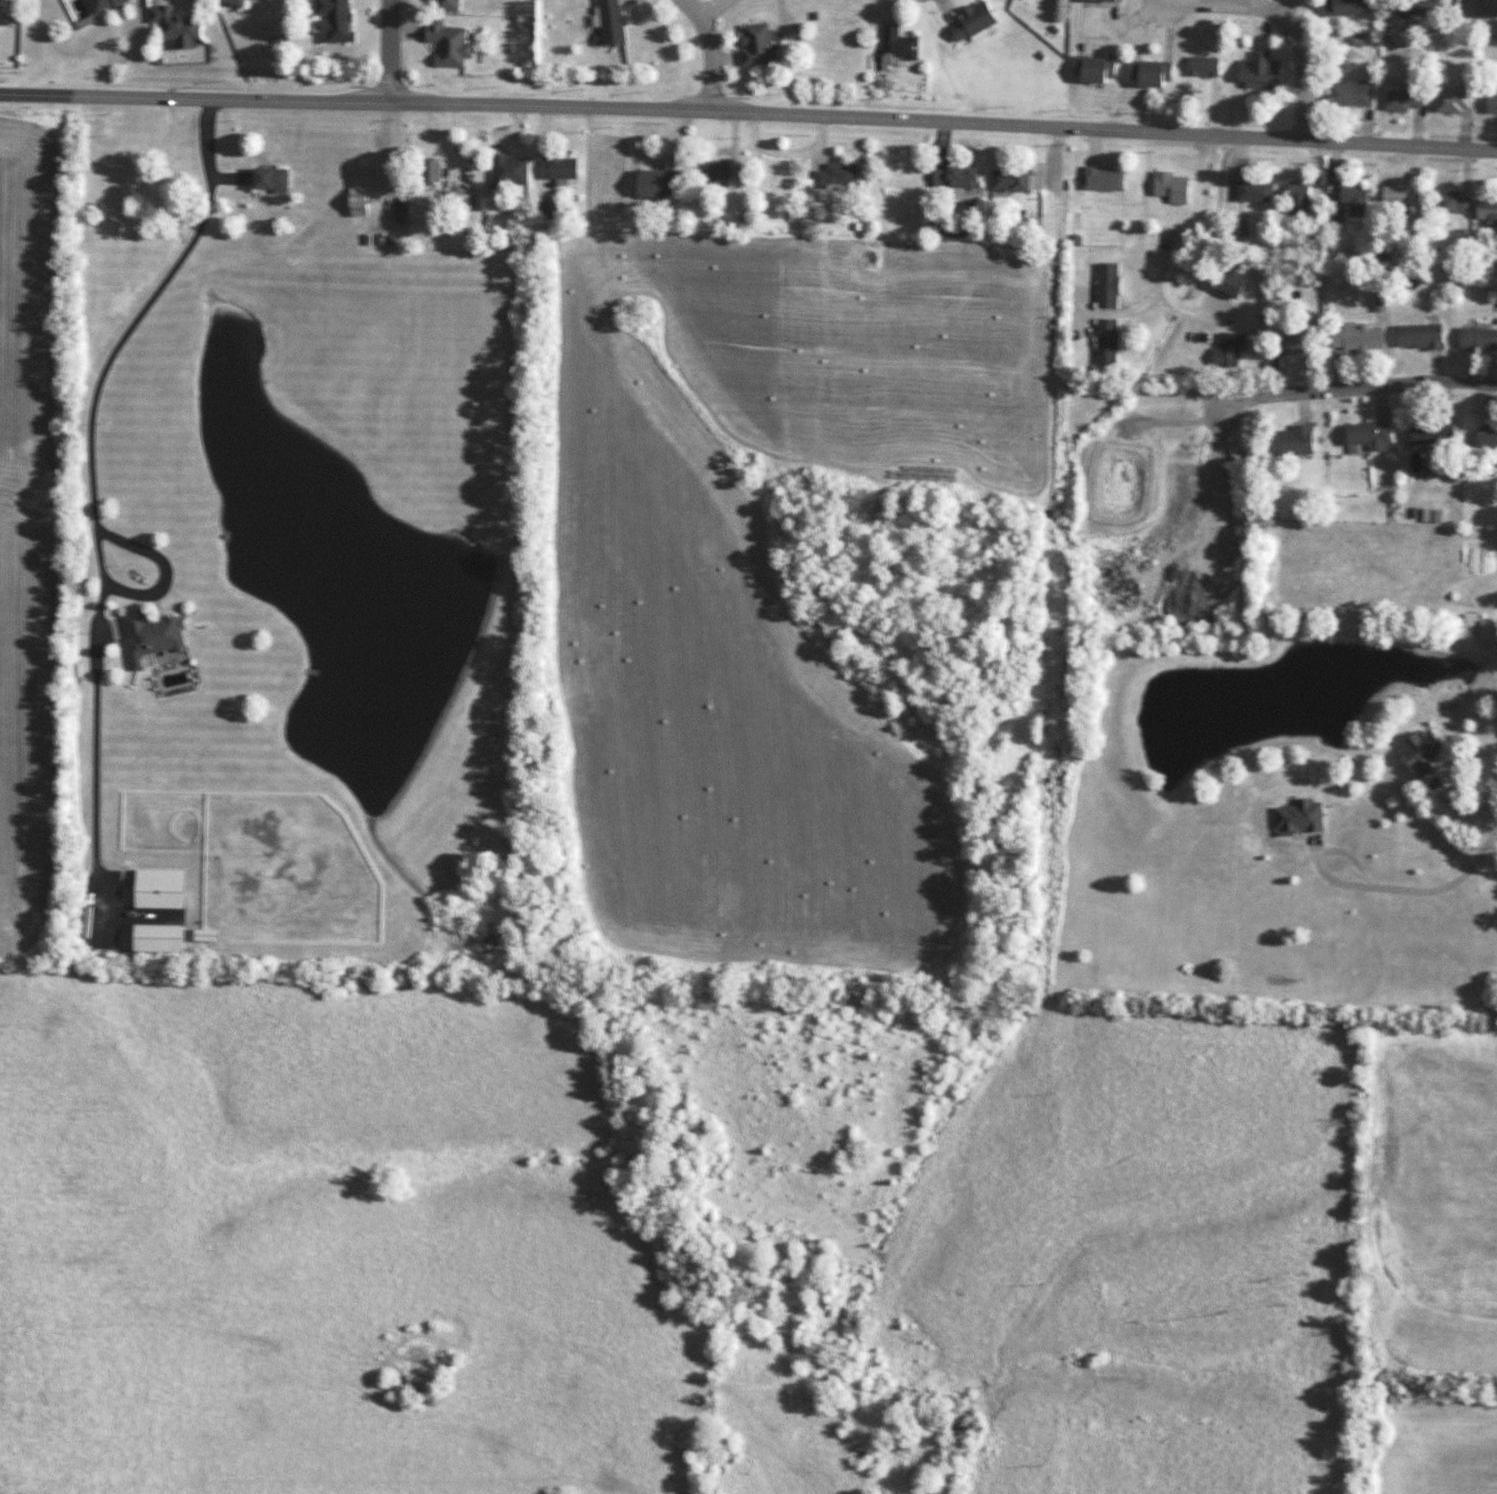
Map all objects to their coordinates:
building: (1094, 0)
building: (241, 2)
building: (450, 4)
building: (107, 5)
road: (1291, 7)
building: (1342, 7)
building: (1415, 7)
building: (1482, 7)
road: (713, 9)
road: (1287, 14)
building: (968, 20)
building: (339, 21)
building: (605, 21)
building: (182, 25)
building: (751, 43)
building: (894, 43)
building: (454, 45)
road: (392, 50)
road: (705, 51)
building: (1200, 66)
building: (1092, 70)
building: (1255, 71)
building: (1148, 74)
building: (1347, 94)
road: (355, 100)
building: (1399, 100)
building: (1449, 102)
building: (1489, 105)
road: (1103, 130)
building: (564, 168)
building: (513, 171)
building: (709, 171)
building: (832, 176)
building: (275, 179)
building: (1099, 179)
building: (949, 180)
building: (1005, 180)
building: (650, 184)
building: (1168, 187)
building: (1252, 191)
building: (1393, 196)
building: (1297, 197)
building: (1353, 200)
building: (364, 202)
road: (1057, 202)
building: (1448, 206)
building: (1485, 212)
road: (1197, 213)
building: (1223, 284)
building: (1103, 285)
building: (1353, 337)
building: (1416, 337)
building: (1475, 339)
building: (1102, 341)
building: (1283, 343)
building: (1224, 349)
road: (1364, 387)
road: (93, 404)
building: (1426, 433)
building: (1362, 436)
building: (1484, 436)
building: (1292, 440)
building: (158, 636)
road: (90, 725)
building: (1415, 751)
road: (1465, 812)
road: (1316, 856)
road: (1444, 885)
building: (165, 887)
building: (211, 934)
building: (166, 937)

